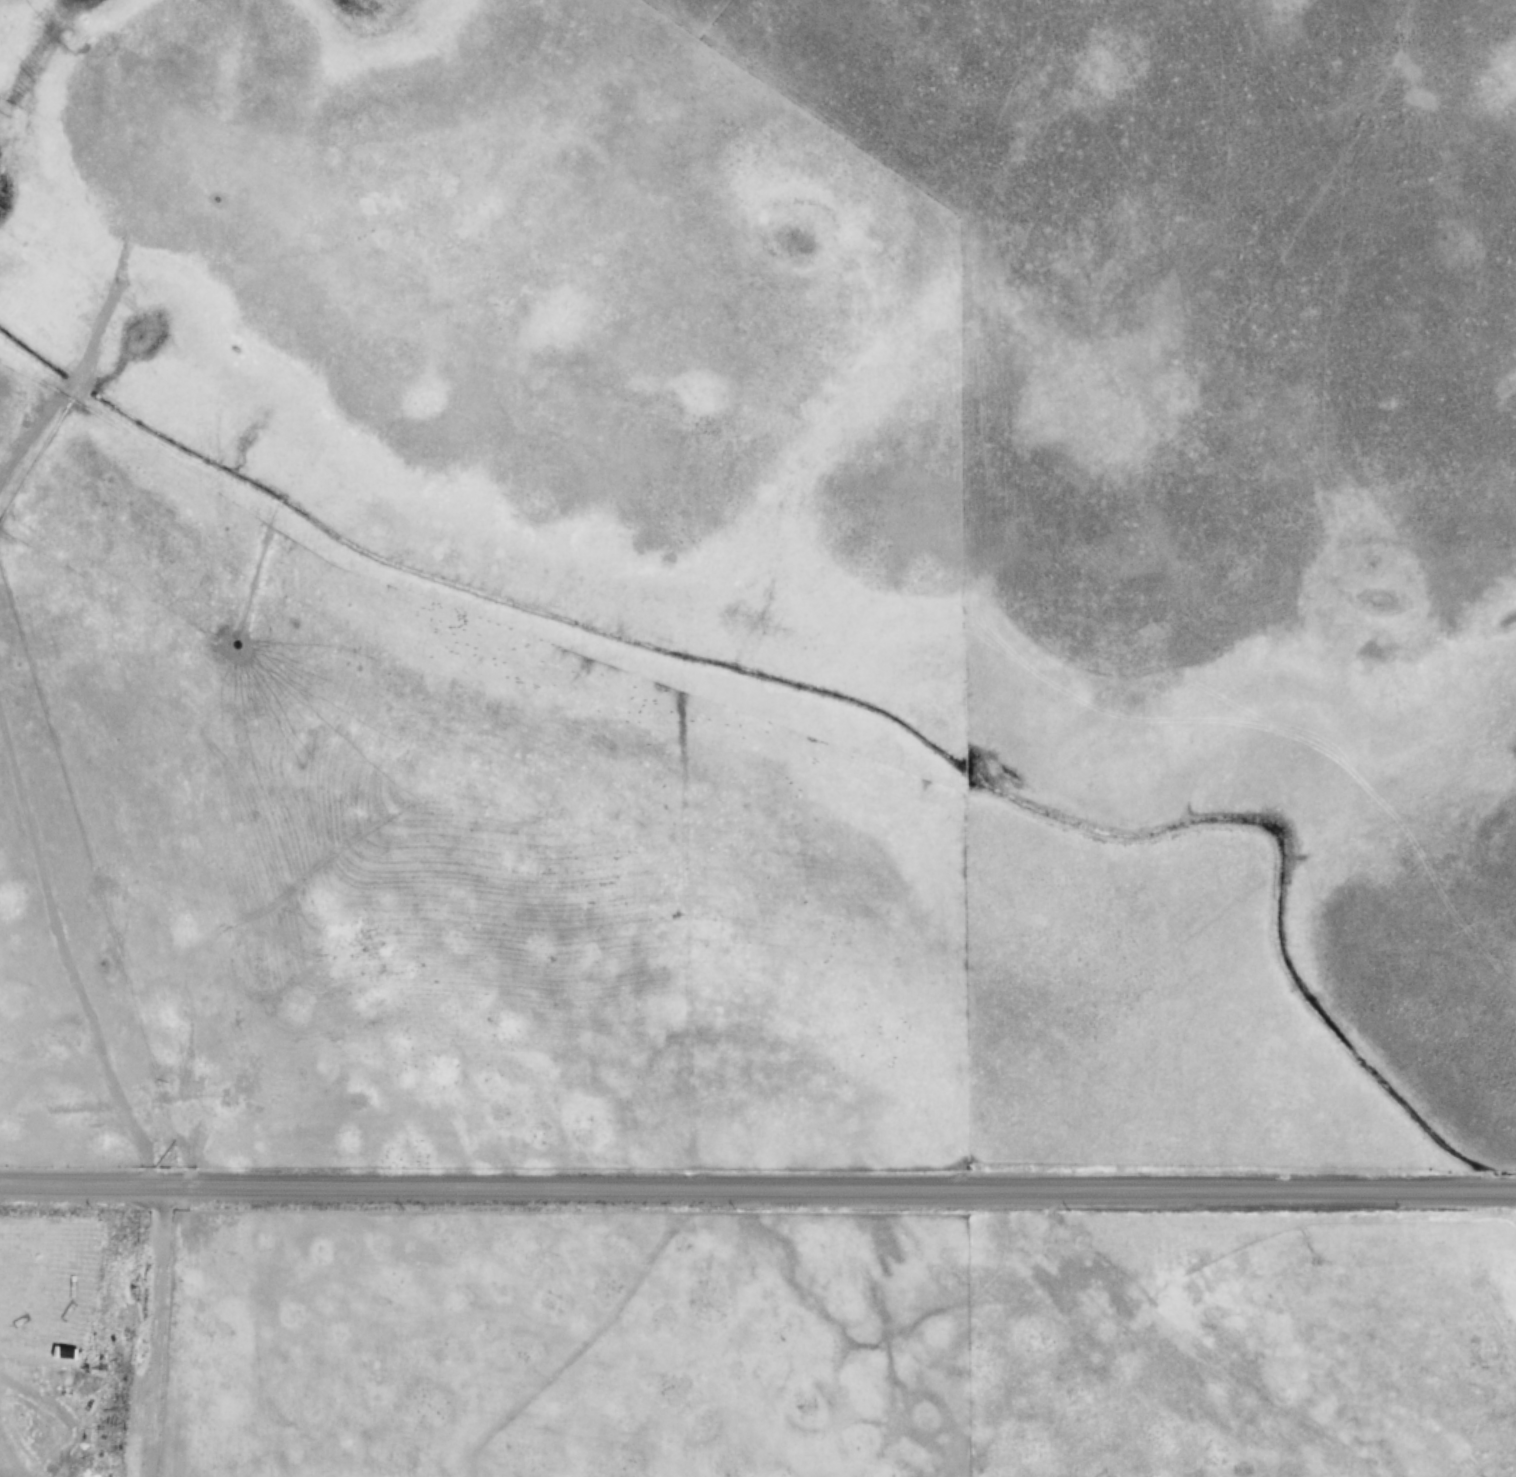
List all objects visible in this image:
road: (758, 1188)

